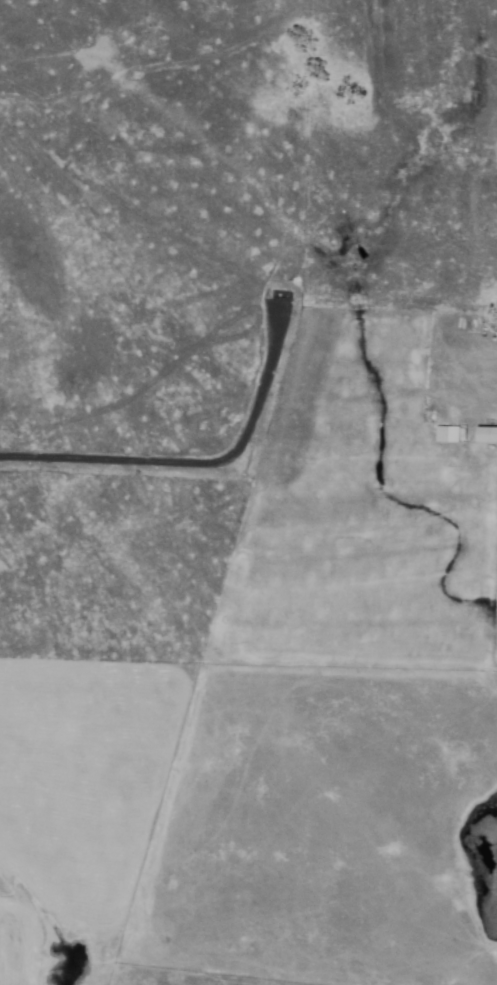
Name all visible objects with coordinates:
building: (483, 45)
building: (446, 435)
building: (485, 436)

